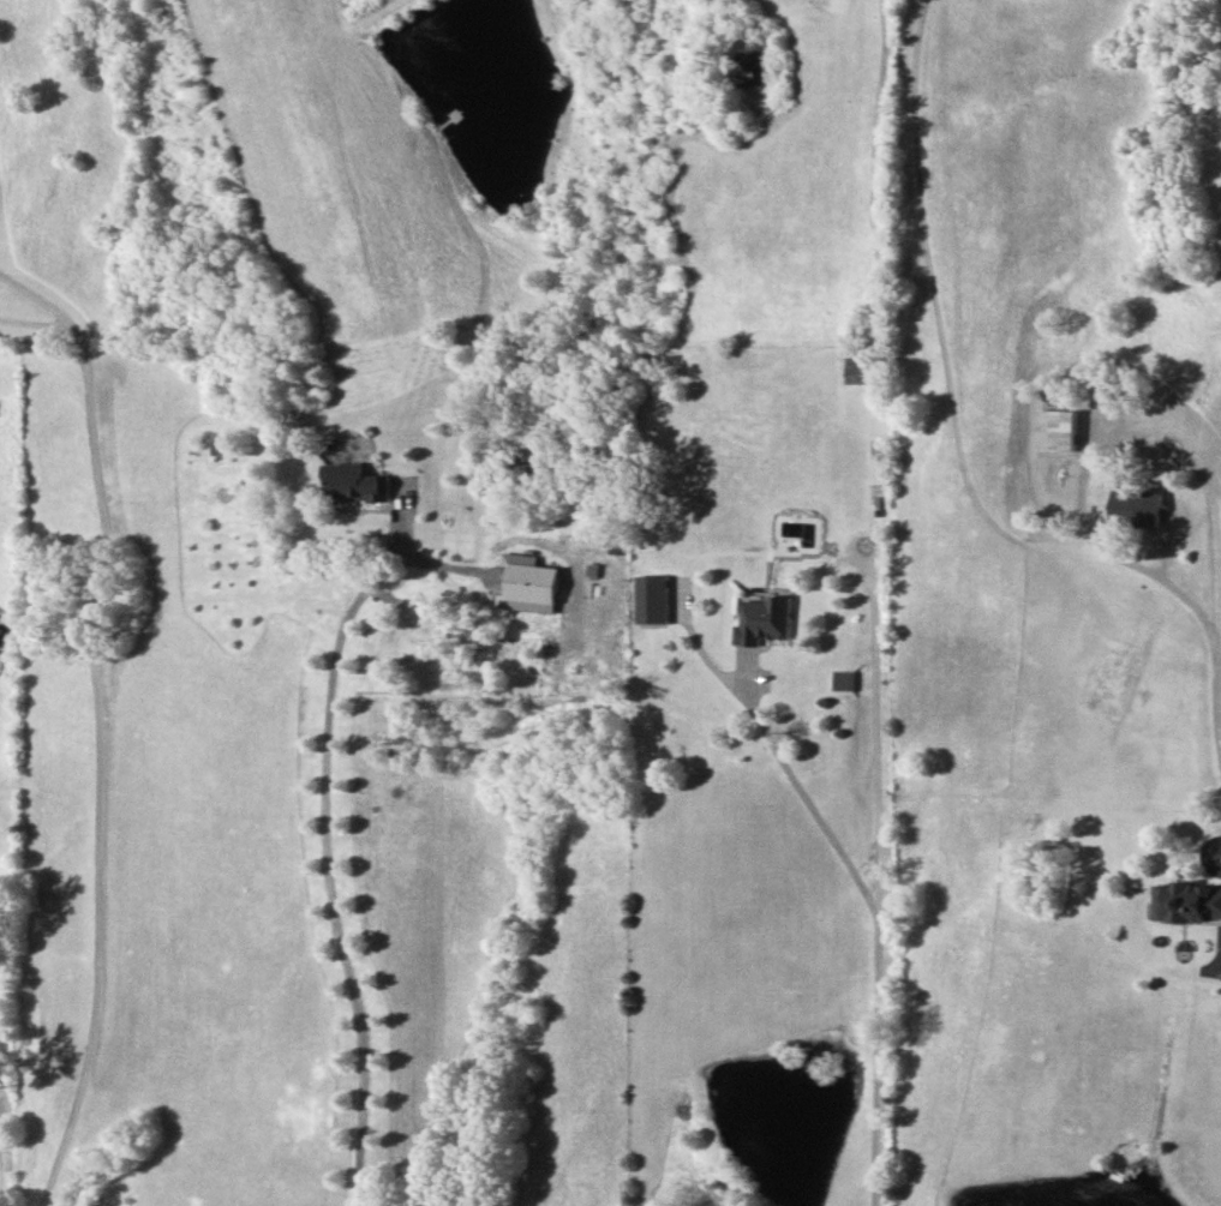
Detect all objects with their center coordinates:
building: (1057, 430)
building: (225, 448)
building: (358, 482)
building: (1139, 508)
building: (531, 583)
building: (656, 598)
building: (767, 619)
road: (1217, 642)
road: (95, 719)
road: (812, 804)
road: (330, 878)
building: (1195, 901)
road: (878, 1066)

